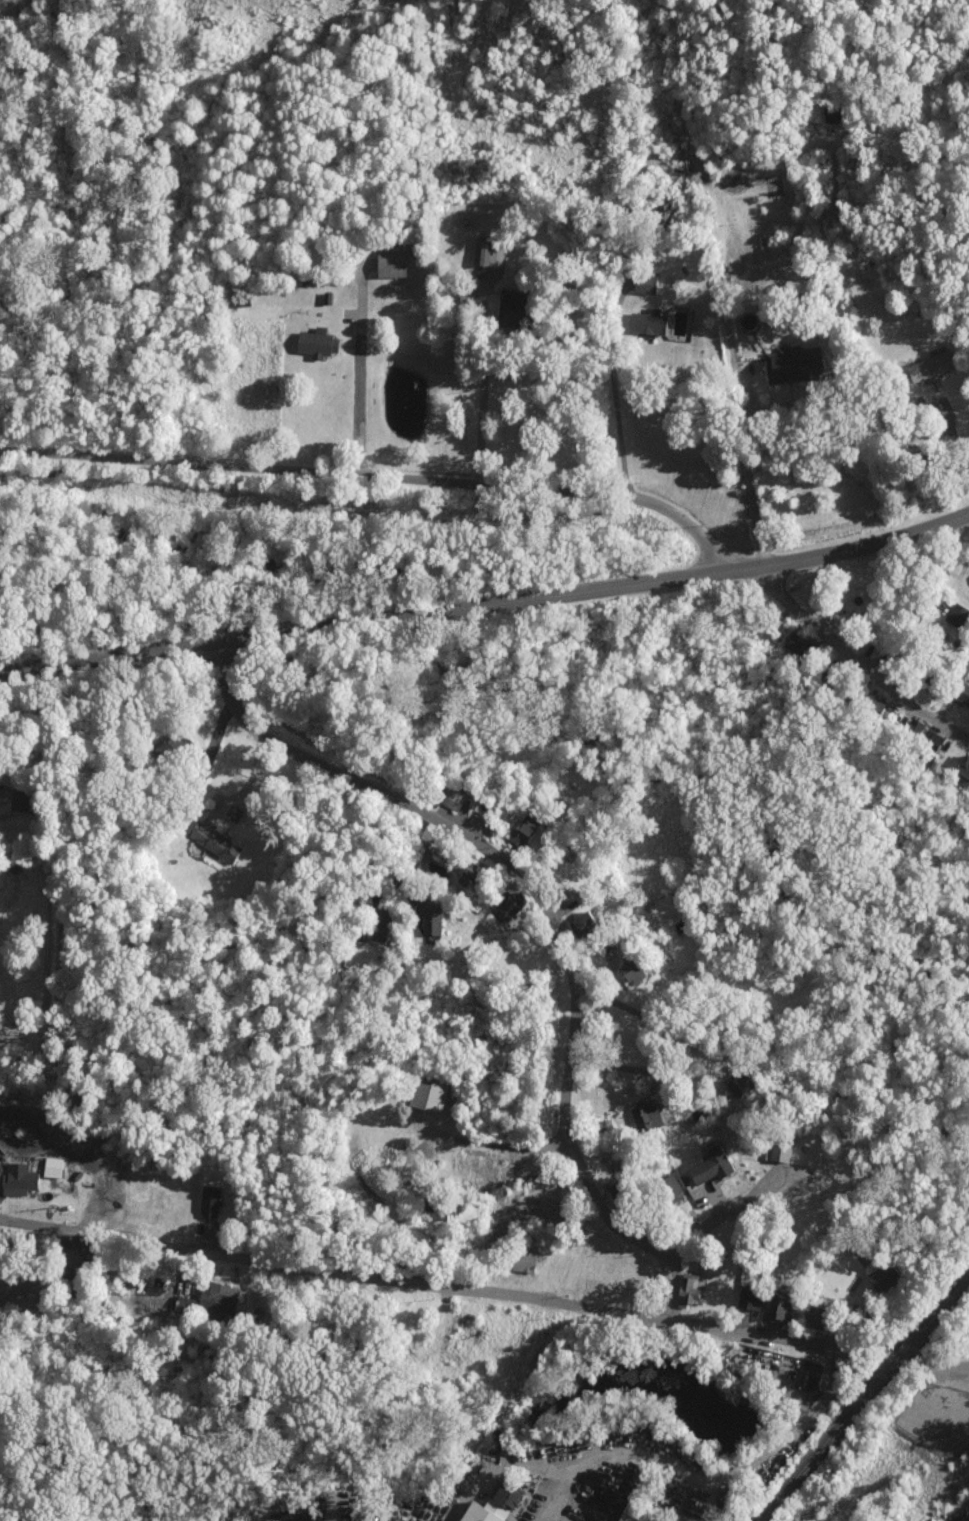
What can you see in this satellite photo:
building: (661, 214)
building: (769, 251)
building: (485, 253)
building: (388, 265)
building: (641, 282)
building: (507, 306)
road: (868, 320)
building: (644, 322)
building: (313, 343)
building: (789, 364)
building: (927, 366)
road: (358, 373)
road: (613, 388)
road: (481, 404)
road: (744, 454)
road: (394, 477)
road: (869, 551)
building: (1, 576)
building: (954, 615)
road: (383, 617)
road: (857, 664)
building: (960, 693)
road: (23, 701)
building: (871, 702)
building: (922, 742)
building: (961, 768)
building: (451, 799)
building: (230, 812)
building: (521, 831)
building: (211, 841)
building: (466, 877)
building: (507, 906)
road: (552, 919)
building: (373, 920)
building: (428, 921)
building: (578, 923)
building: (628, 971)
road: (681, 1049)
building: (738, 1084)
building: (427, 1095)
building: (642, 1116)
road: (486, 1141)
building: (777, 1147)
building: (706, 1167)
building: (65, 1170)
building: (48, 1172)
building: (15, 1180)
building: (667, 1189)
building: (207, 1202)
road: (722, 1217)
building: (523, 1260)
road: (338, 1269)
building: (879, 1277)
building: (686, 1290)
building: (216, 1298)
building: (746, 1299)
building: (182, 1304)
building: (774, 1308)
building: (810, 1318)
road: (784, 1339)
road: (937, 1364)
railway: (865, 1397)
road: (735, 1476)
road: (558, 1496)
building: (487, 1505)
road: (560, 1513)
building: (633, 1514)

